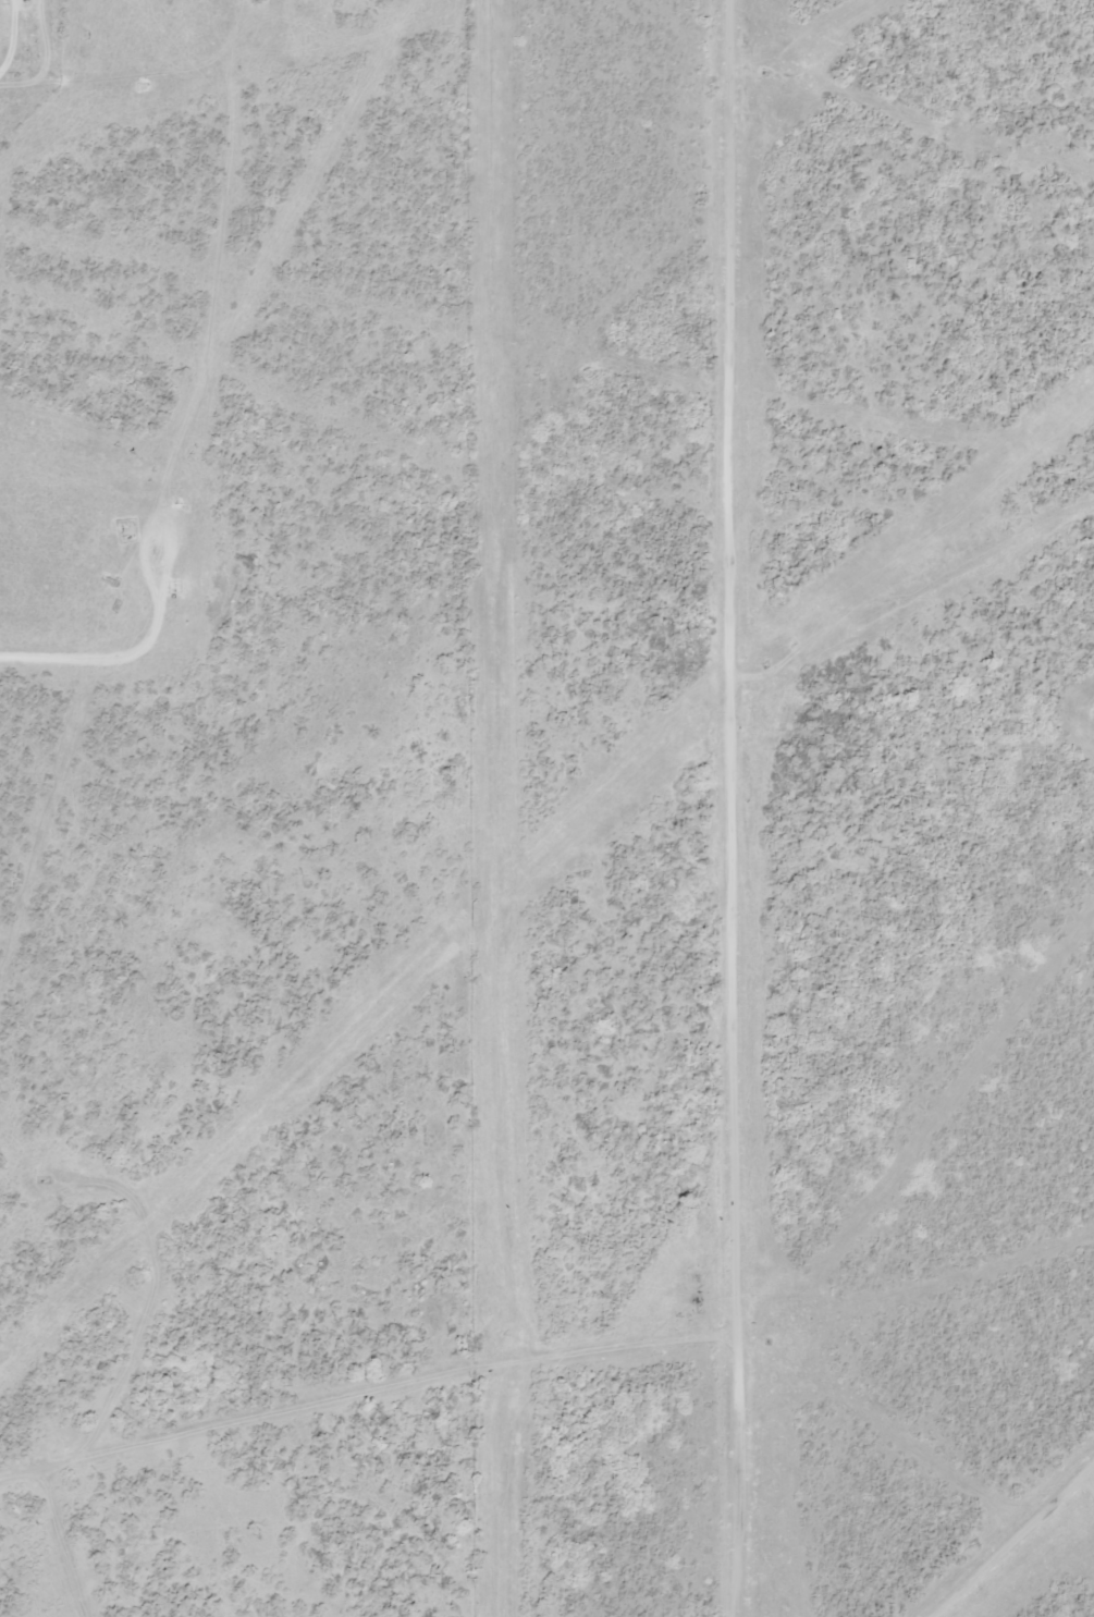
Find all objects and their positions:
road: (11, 42)
road: (125, 81)
road: (728, 808)
road: (1085, 1517)
road: (1021, 1541)

